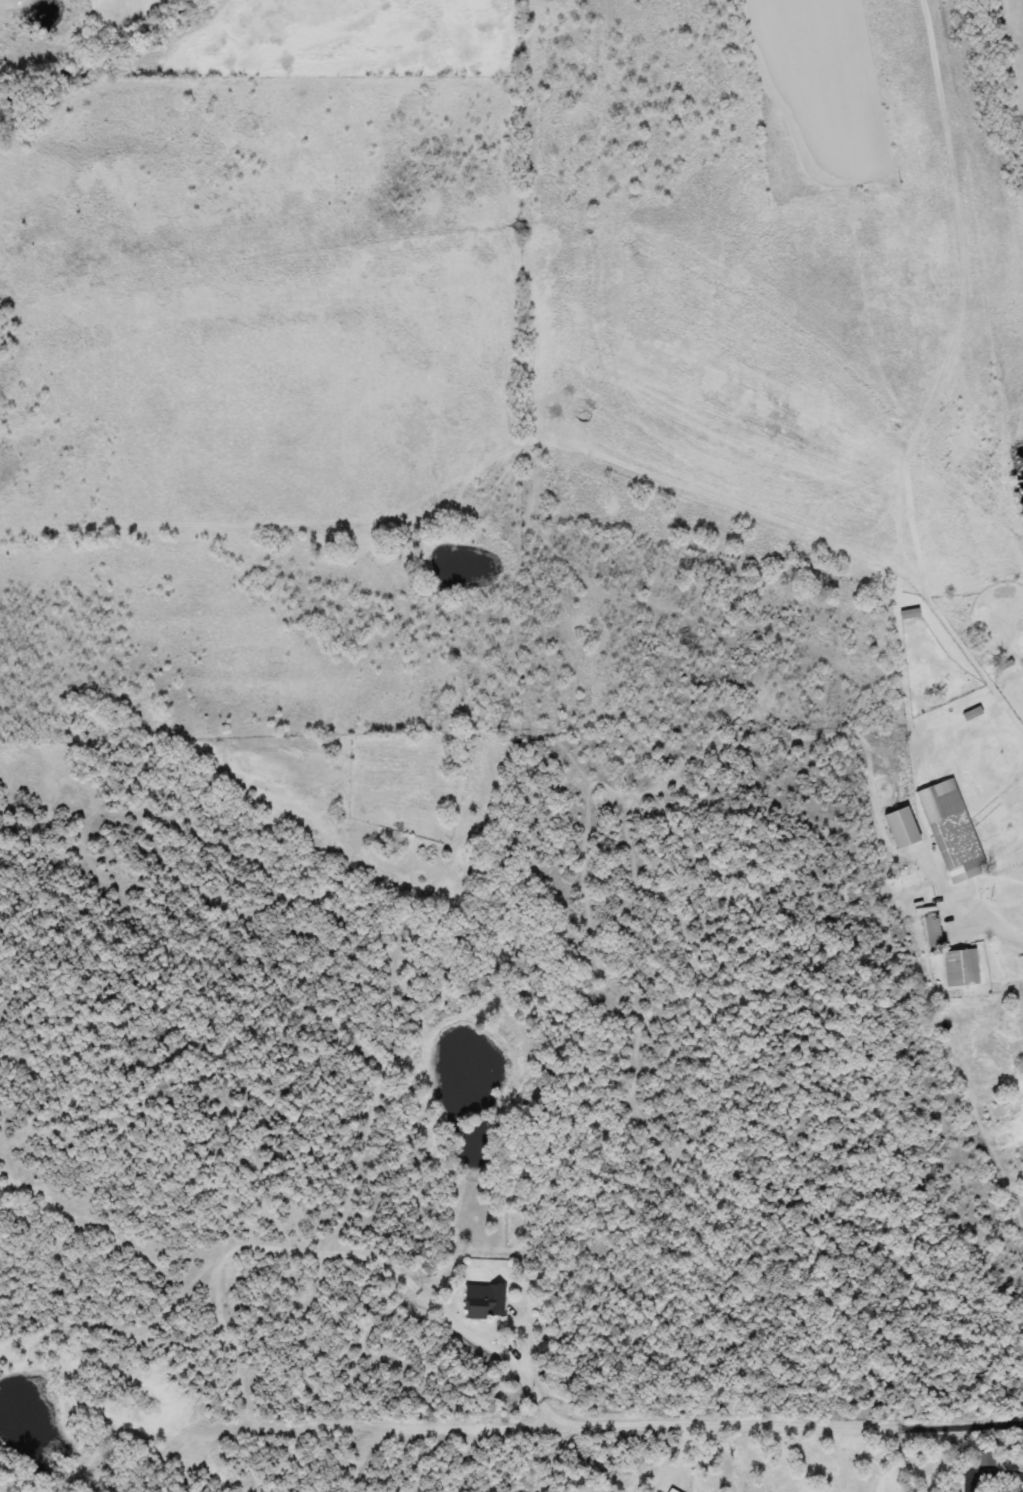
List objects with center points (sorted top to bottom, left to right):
building: (949, 831)
building: (902, 880)
road: (1002, 923)
building: (959, 968)
building: (481, 1301)
road: (571, 1416)
road: (999, 1478)

